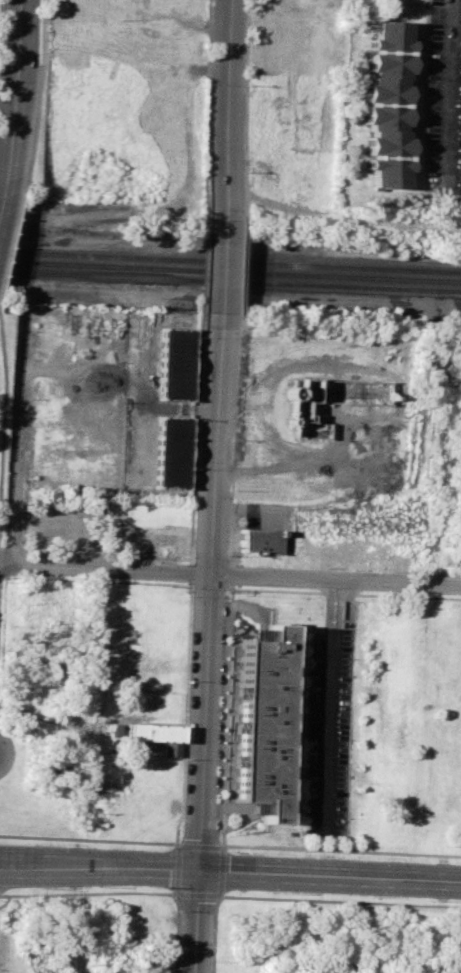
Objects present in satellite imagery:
road: (19, 95)
road: (448, 95)
parking lot: (443, 103)
building: (387, 105)
road: (228, 109)
road: (2, 199)
street lamp: (20, 209)
railway: (230, 260)
road: (224, 266)
railway: (230, 270)
railway: (230, 280)
building: (175, 364)
building: (330, 401)
road: (4, 435)
road: (17, 435)
building: (172, 453)
building: (260, 541)
road: (230, 575)
road: (212, 590)
road: (330, 709)
building: (262, 718)
parking lot: (326, 734)
building: (158, 735)
street lamp: (185, 758)
street lamp: (53, 842)
street lamp: (159, 847)
street lamp: (268, 852)
street lamp: (378, 857)
road: (100, 862)
road: (331, 875)
street lamp: (156, 888)
street lamp: (52, 889)
street lamp: (266, 892)
street lamp: (373, 897)
street lamp: (174, 911)
road: (199, 920)

